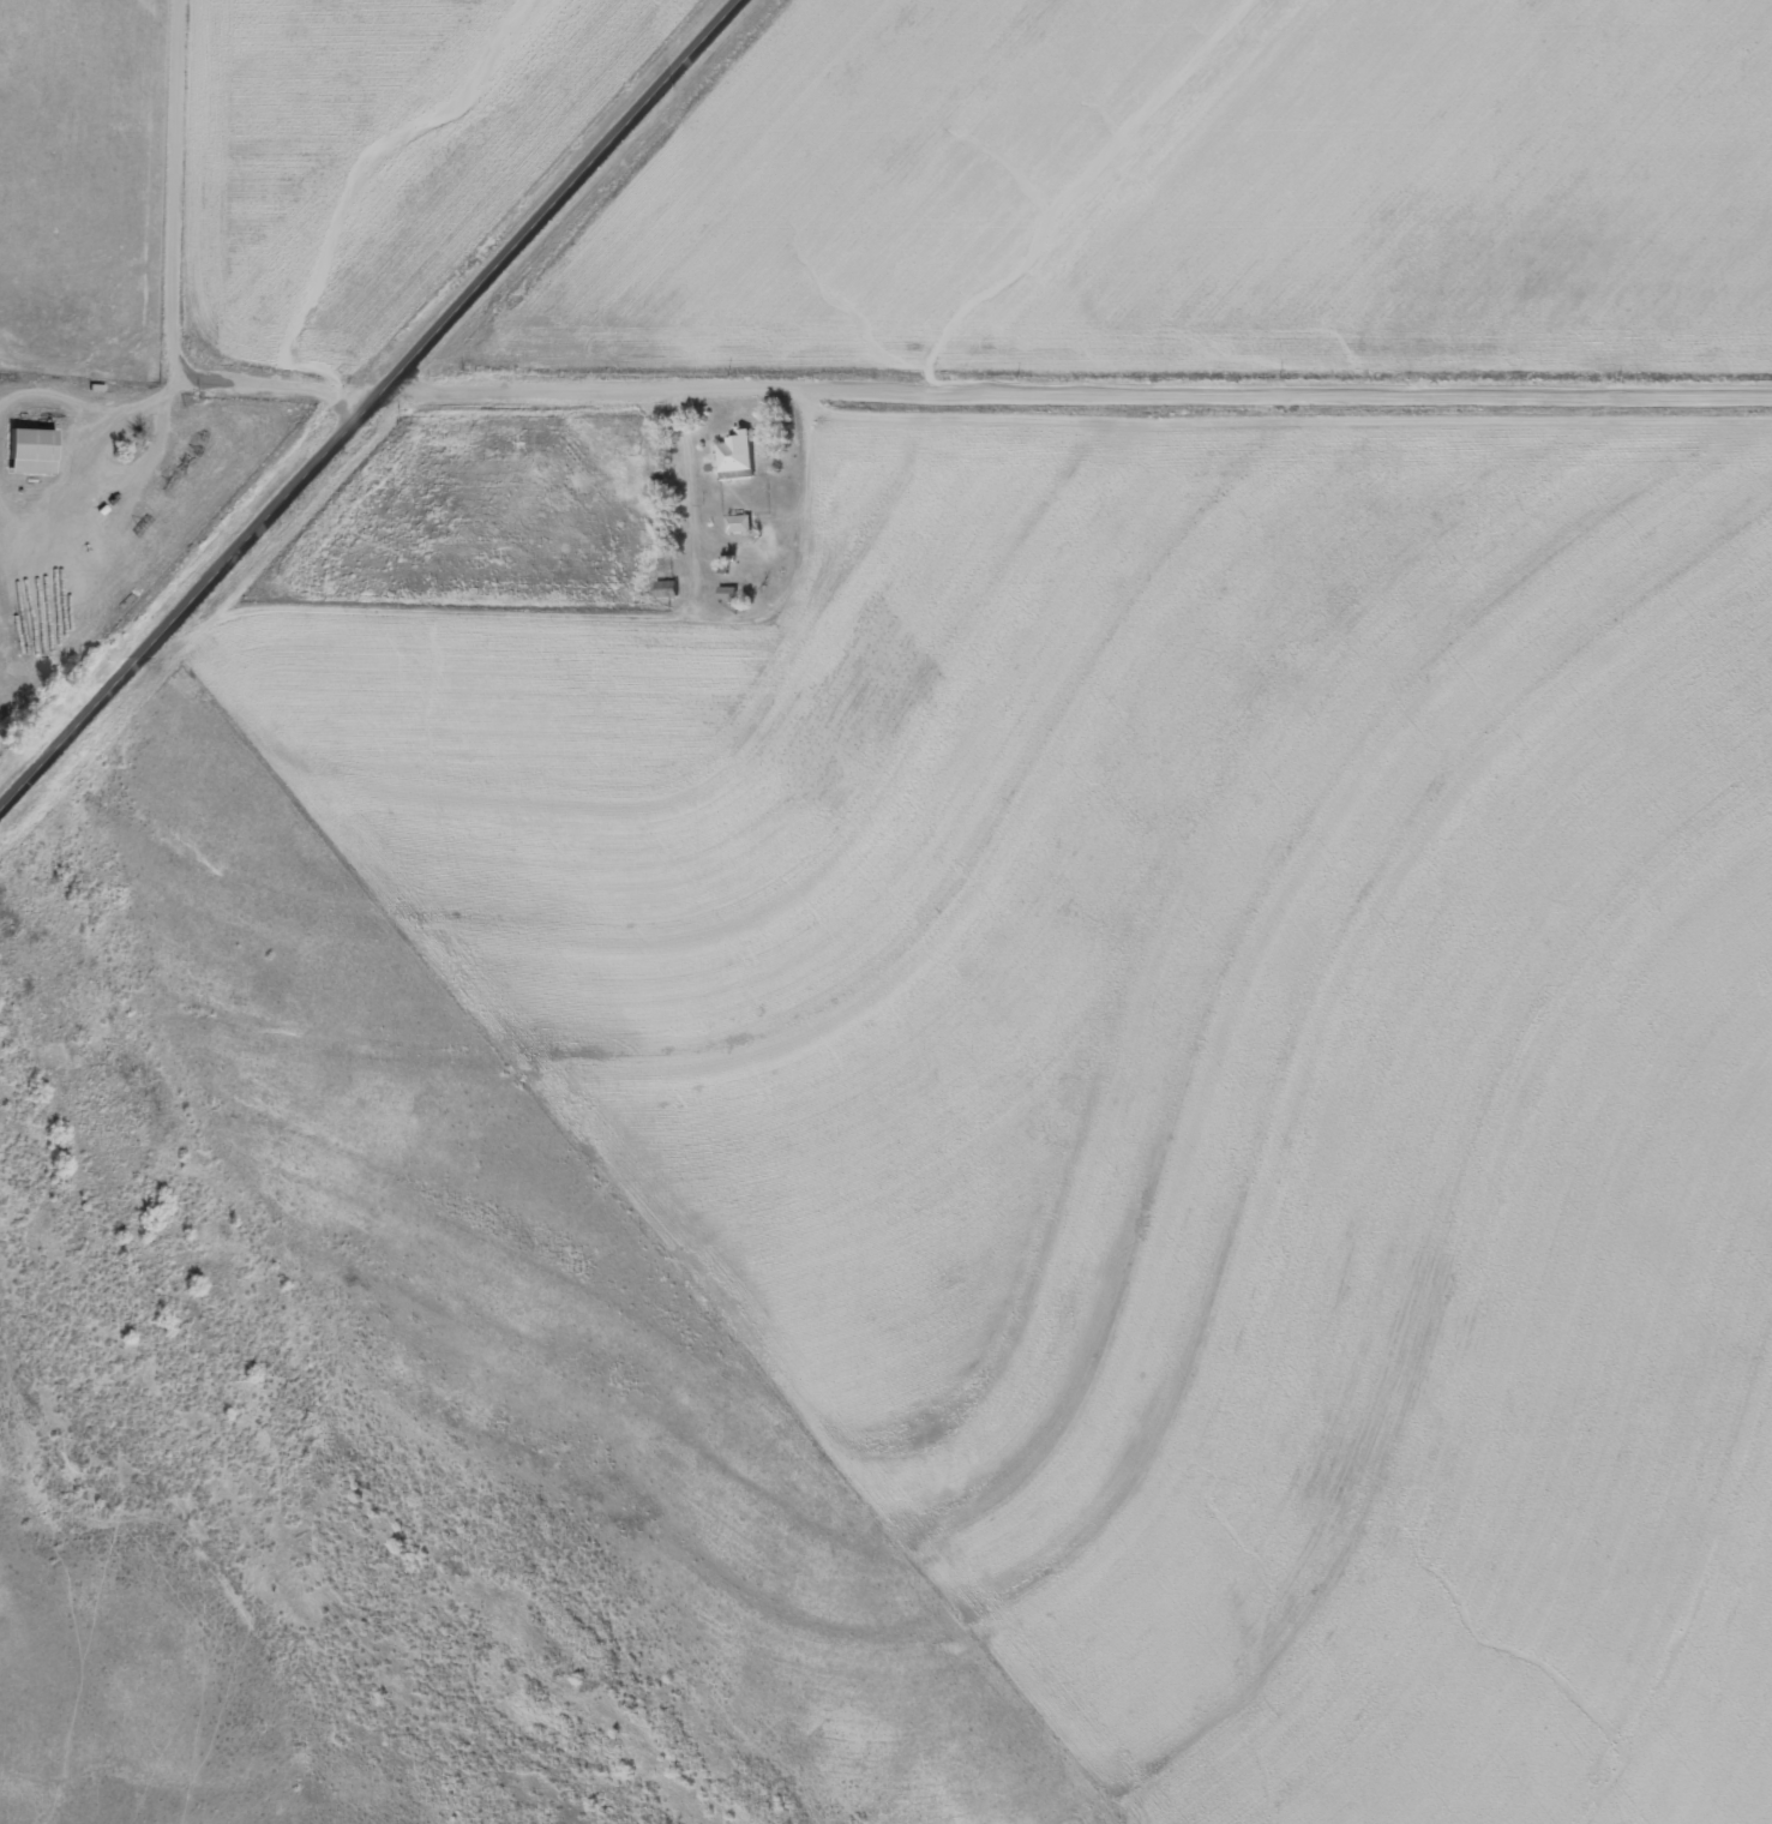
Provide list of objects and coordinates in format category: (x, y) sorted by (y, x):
road: (182, 191)
railway: (338, 366)
road: (304, 386)
road: (1083, 390)
road: (372, 410)
building: (35, 454)
building: (739, 458)
building: (740, 526)

